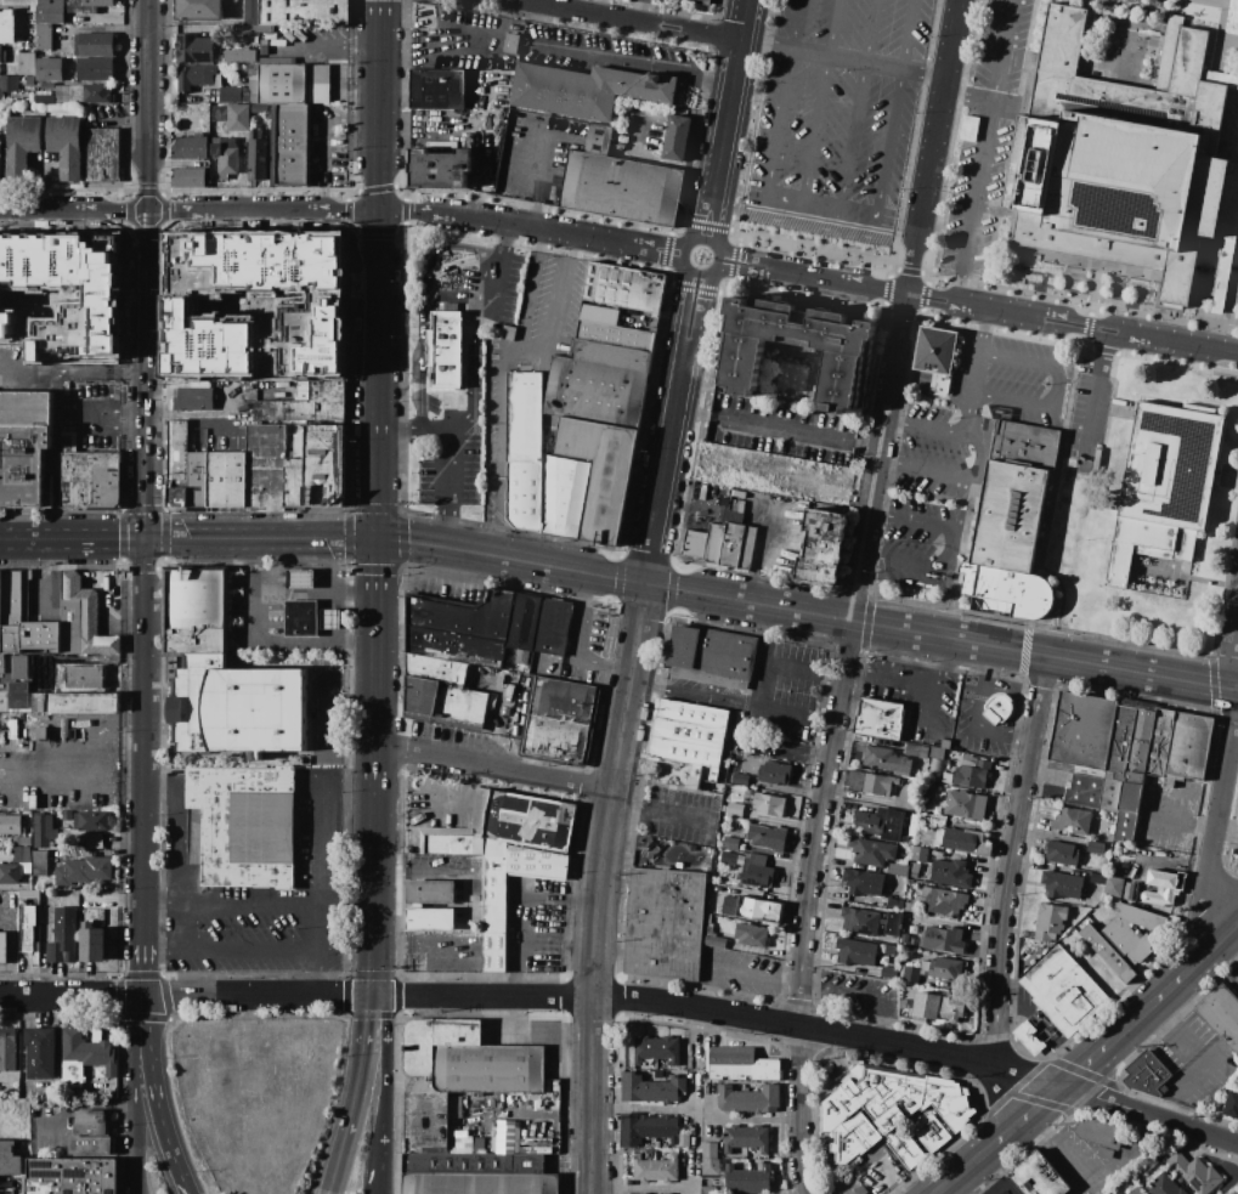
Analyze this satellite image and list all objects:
building: (700, 2)
parking lot: (1146, 4)
building: (87, 5)
building: (197, 10)
building: (50, 11)
building: (250, 12)
building: (303, 12)
road: (381, 22)
road: (624, 22)
road: (496, 24)
building: (7, 27)
building: (265, 29)
building: (250, 32)
building: (43, 38)
building: (510, 43)
building: (94, 45)
road: (333, 45)
road: (1217, 45)
building: (264, 47)
building: (194, 49)
road: (1000, 49)
building: (253, 52)
building: (1, 56)
building: (237, 56)
road: (843, 56)
road: (633, 58)
building: (26, 63)
building: (49, 69)
building: (95, 69)
building: (193, 77)
building: (29, 81)
building: (7, 85)
building: (294, 85)
building: (251, 90)
building: (436, 90)
building: (584, 90)
building: (56, 94)
building: (97, 95)
building: (232, 95)
road: (816, 102)
road: (857, 104)
building: (259, 109)
road: (322, 111)
road: (776, 115)
building: (231, 117)
road: (380, 128)
parking lot: (840, 128)
building: (968, 128)
parking lot: (982, 136)
building: (675, 137)
building: (292, 145)
parking lot: (326, 145)
building: (22, 146)
building: (66, 146)
road: (886, 146)
building: (188, 148)
building: (215, 148)
building: (101, 155)
building: (256, 158)
building: (228, 159)
building: (1119, 164)
building: (440, 166)
building: (188, 177)
road: (977, 177)
road: (536, 182)
building: (620, 183)
road: (622, 244)
road: (379, 245)
building: (1223, 262)
road: (146, 270)
building: (53, 278)
road: (719, 283)
building: (623, 287)
parking lot: (484, 288)
road: (1232, 288)
road: (696, 292)
road: (886, 292)
road: (420, 301)
road: (904, 311)
building: (599, 313)
building: (615, 335)
building: (445, 351)
road: (377, 353)
building: (933, 356)
building: (740, 361)
road: (473, 363)
road: (72, 368)
road: (123, 368)
road: (973, 373)
road: (498, 385)
building: (599, 385)
road: (1052, 390)
building: (326, 391)
road: (1098, 396)
building: (193, 400)
parking lot: (984, 403)
building: (296, 413)
building: (524, 414)
road: (112, 417)
parking lot: (89, 418)
road: (776, 429)
road: (1076, 441)
parking lot: (448, 447)
building: (26, 448)
road: (970, 458)
building: (177, 463)
building: (264, 465)
building: (323, 465)
building: (601, 474)
building: (89, 479)
building: (196, 479)
building: (225, 479)
building: (293, 482)
road: (375, 485)
road: (450, 487)
building: (1164, 488)
building: (564, 493)
building: (739, 494)
building: (525, 496)
building: (1017, 498)
road: (1051, 499)
building: (736, 507)
building: (722, 514)
building: (734, 517)
parking lot: (922, 537)
road: (94, 539)
traffic signals: (145, 539)
road: (168, 539)
road: (283, 539)
road: (22, 541)
traffic signals: (375, 541)
road: (402, 543)
building: (703, 544)
building: (736, 547)
road: (440, 548)
building: (821, 548)
road: (943, 548)
road: (759, 560)
road: (164, 567)
road: (547, 567)
road: (402, 571)
road: (44, 578)
building: (299, 578)
road: (617, 582)
building: (299, 589)
road: (377, 589)
road: (671, 589)
building: (1006, 592)
road: (109, 607)
building: (22, 617)
building: (81, 619)
building: (299, 619)
building: (330, 619)
building: (522, 622)
road: (866, 622)
building: (553, 627)
building: (460, 629)
road: (940, 639)
road: (266, 640)
building: (712, 652)
road: (1024, 652)
building: (1, 661)
road: (769, 662)
building: (19, 668)
building: (1, 670)
road: (860, 672)
building: (222, 677)
building: (84, 678)
road: (908, 680)
road: (1237, 683)
road: (1212, 687)
road: (377, 694)
building: (441, 694)
building: (17, 696)
road: (718, 696)
building: (561, 701)
building: (35, 703)
building: (83, 703)
building: (492, 708)
road: (929, 709)
building: (997, 709)
road: (316, 717)
building: (878, 719)
road: (967, 722)
building: (1082, 730)
building: (40, 732)
building: (688, 735)
road: (143, 739)
building: (554, 741)
building: (1159, 742)
building: (1187, 748)
building: (24, 751)
road: (780, 751)
building: (915, 751)
building: (935, 753)
building: (886, 759)
building: (1118, 759)
building: (305, 760)
road: (493, 769)
building: (934, 769)
building: (774, 774)
building: (972, 775)
building: (1134, 776)
building: (740, 779)
building: (870, 783)
road: (73, 786)
road: (375, 787)
road: (420, 788)
building: (1084, 792)
building: (959, 804)
building: (724, 805)
building: (768, 805)
building: (863, 805)
building: (979, 808)
building: (734, 809)
building: (480, 810)
road: (660, 814)
building: (64, 815)
road: (1183, 819)
building: (95, 821)
building: (530, 821)
building: (1072, 821)
building: (878, 824)
building: (11, 825)
road: (1216, 825)
building: (241, 826)
building: (41, 832)
road: (175, 833)
building: (767, 838)
building: (904, 839)
building: (450, 841)
building: (955, 841)
building: (22, 842)
building: (94, 842)
building: (5, 843)
building: (730, 843)
building: (1095, 848)
building: (871, 851)
building: (1061, 853)
building: (918, 854)
building: (19, 855)
building: (728, 858)
road: (1012, 860)
building: (38, 864)
building: (912, 867)
building: (897, 870)
building: (81, 871)
building: (756, 871)
building: (922, 872)
building: (10, 873)
building: (950, 873)
building: (911, 875)
building: (1097, 878)
building: (1161, 879)
building: (34, 881)
building: (864, 882)
building: (1061, 884)
road: (598, 887)
building: (1113, 887)
building: (430, 892)
building: (28, 894)
building: (1159, 896)
building: (943, 901)
road: (292, 902)
building: (893, 904)
road: (808, 907)
building: (908, 907)
road: (522, 909)
building: (758, 910)
road: (374, 911)
building: (1142, 918)
building: (87, 919)
building: (430, 919)
building: (860, 922)
building: (1048, 922)
building: (892, 923)
building: (494, 924)
building: (663, 924)
building: (27, 928)
building: (710, 932)
building: (750, 935)
building: (62, 936)
building: (942, 940)
building: (1130, 940)
road: (1231, 941)
building: (713, 943)
building: (92, 945)
building: (4, 947)
building: (35, 947)
road: (253, 950)
building: (889, 950)
road: (165, 951)
building: (855, 952)
building: (1107, 953)
building: (29, 955)
building: (705, 958)
building: (35, 960)
building: (22, 961)
building: (923, 966)
road: (141, 968)
building: (945, 969)
road: (318, 973)
building: (887, 973)
building: (911, 975)
road: (822, 983)
building: (1062, 990)
traffic signals: (374, 996)
traffic signals: (143, 998)
road: (628, 998)
building: (935, 1007)
building: (1221, 1014)
road: (397, 1017)
road: (166, 1019)
building: (1035, 1031)
road: (21, 1039)
road: (1171, 1042)
building: (7, 1049)
building: (644, 1049)
building: (667, 1049)
building: (40, 1053)
building: (83, 1057)
building: (469, 1059)
road: (1087, 1060)
building: (729, 1062)
road: (360, 1066)
building: (765, 1070)
road: (134, 1073)
building: (1146, 1074)
road: (154, 1082)
road: (385, 1085)
building: (650, 1090)
building: (24, 1091)
building: (747, 1099)
road: (73, 1104)
building: (1231, 1104)
building: (453, 1107)
building: (887, 1111)
building: (645, 1128)
building: (1099, 1132)
building: (931, 1133)
building: (90, 1134)
building: (744, 1138)
building: (683, 1141)
building: (460, 1142)
road: (1057, 1144)
building: (431, 1148)
building: (710, 1151)
building: (1103, 1154)
building: (9, 1159)
road: (334, 1165)
building: (710, 1168)
building: (655, 1170)
road: (136, 1171)
building: (1195, 1173)
building: (475, 1175)
building: (70, 1176)
building: (1038, 1176)
building: (747, 1179)
road: (181, 1181)
road: (884, 1181)
building: (5, 1184)
road: (375, 1185)
building: (1163, 1185)
building: (1001, 1188)
building: (708, 1190)
building: (6, 1192)
building: (1136, 1192)

